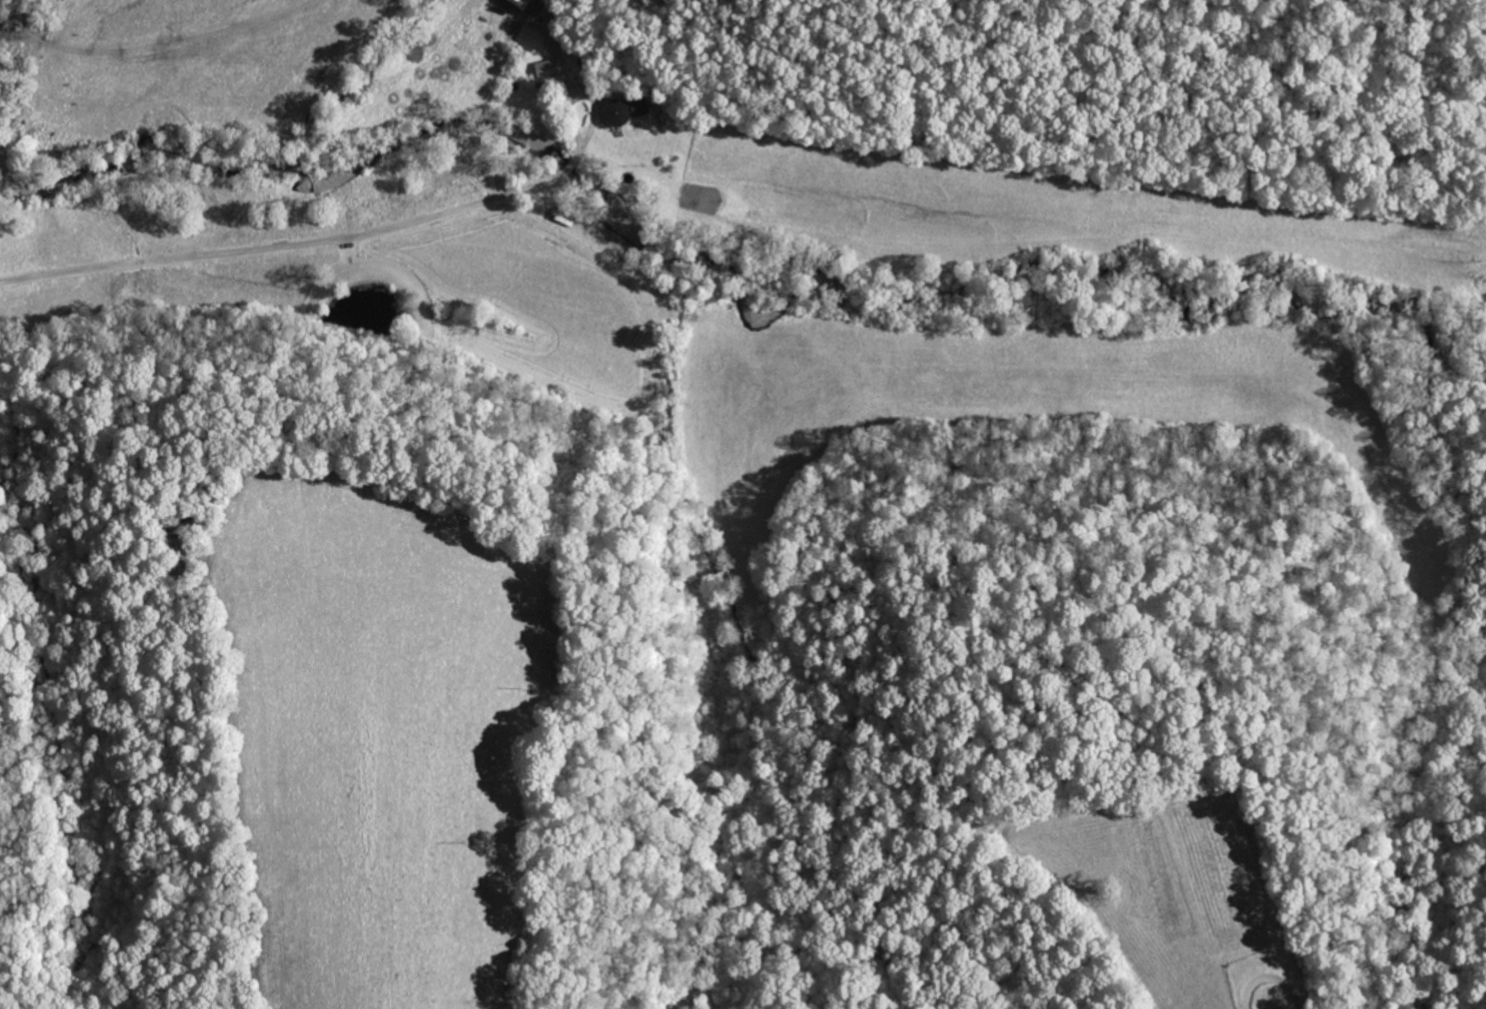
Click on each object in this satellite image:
building: (516, 5)
building: (541, 71)
road: (365, 215)

